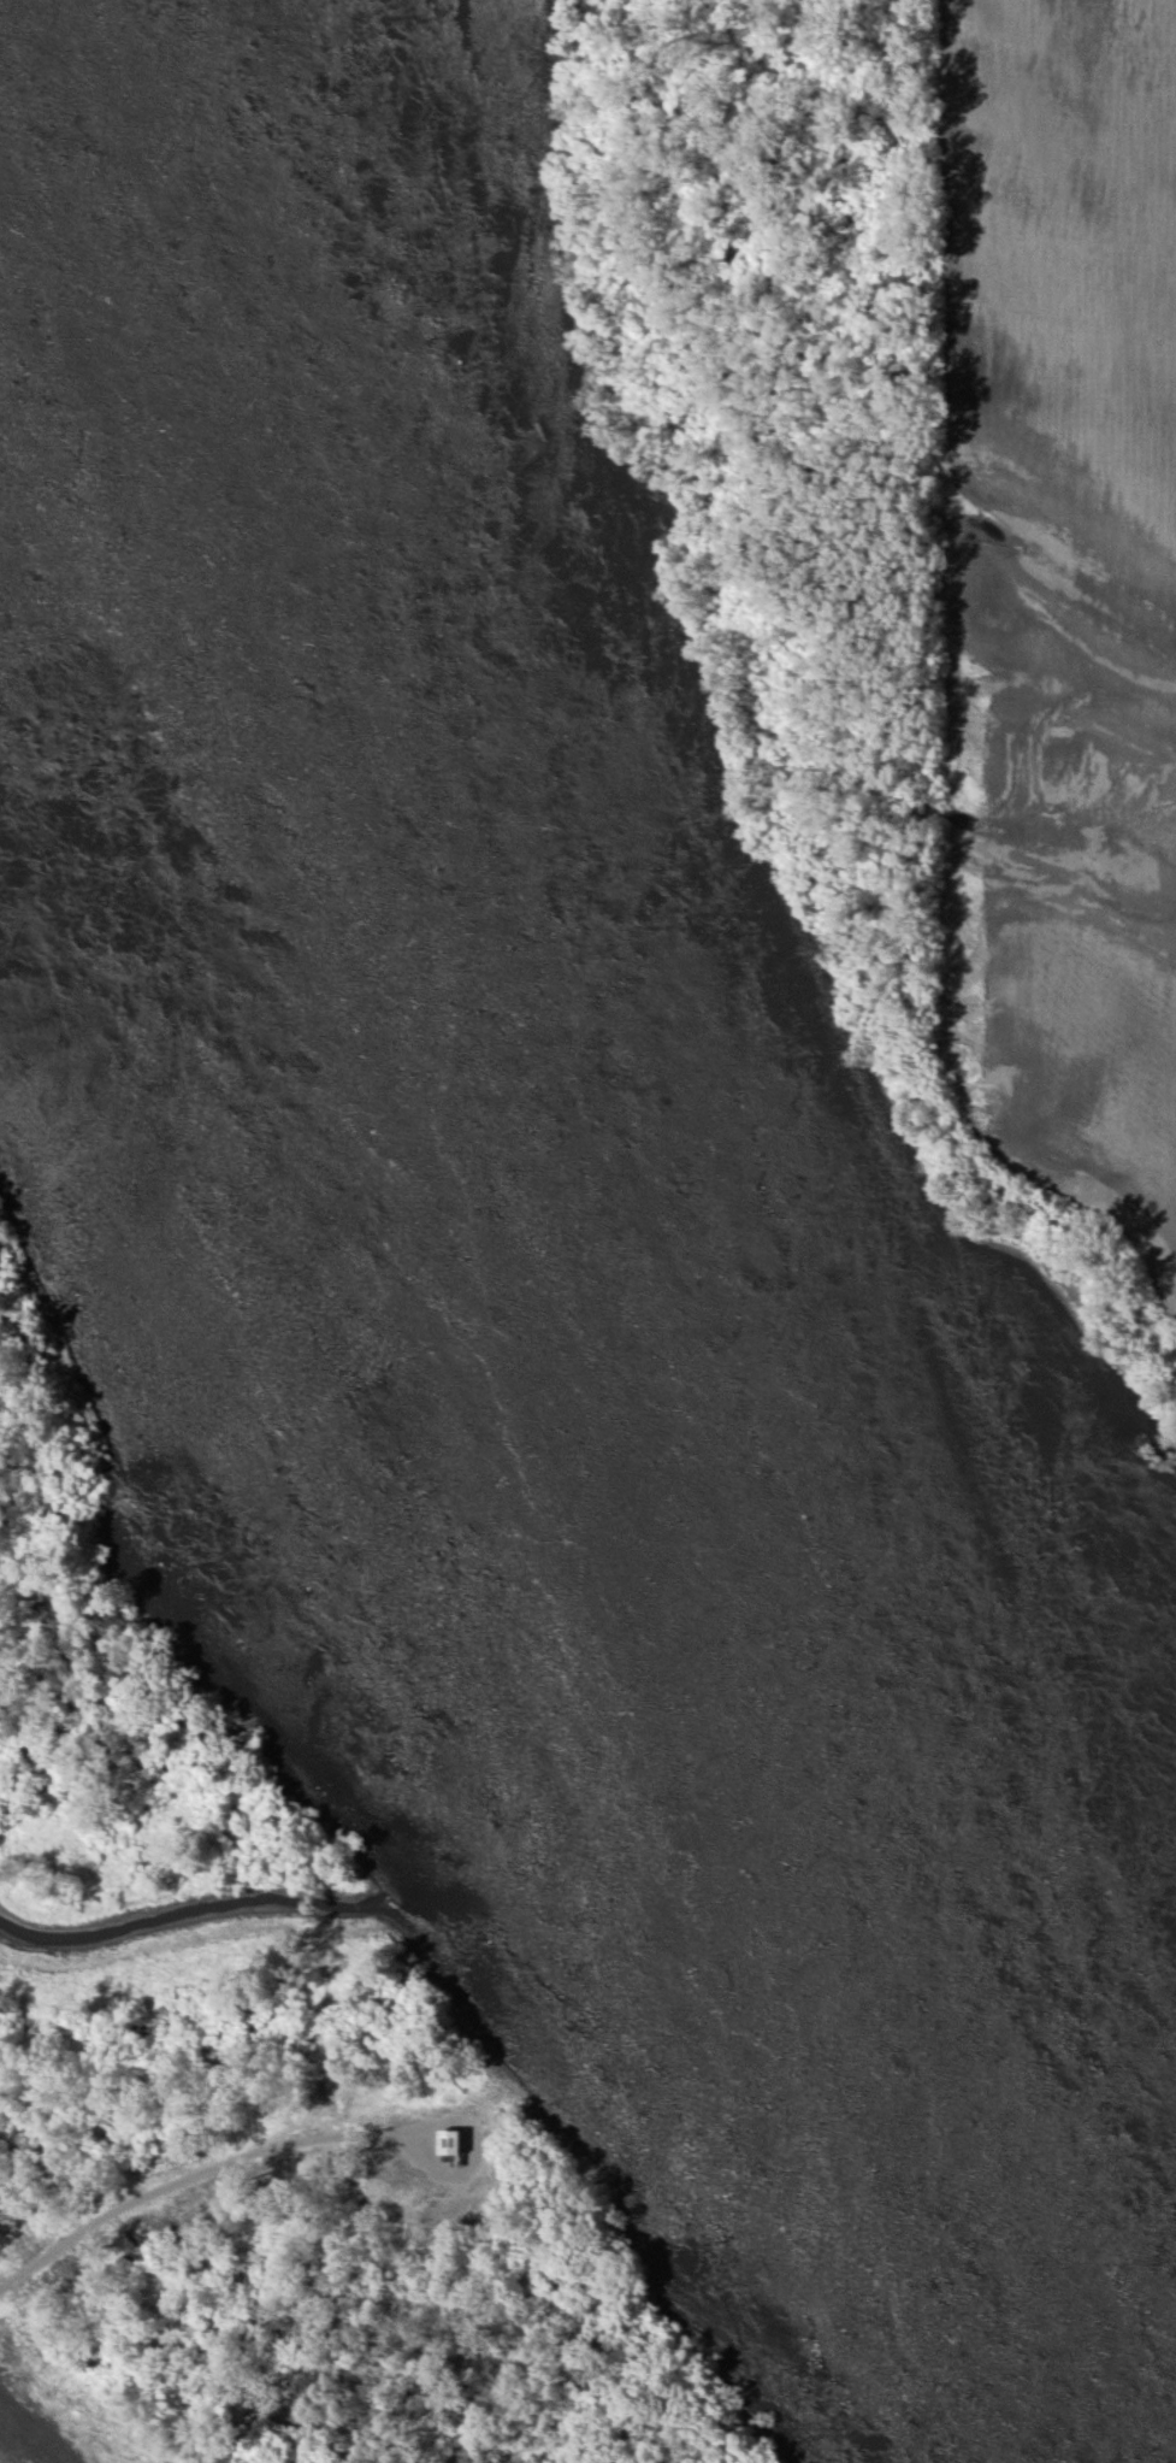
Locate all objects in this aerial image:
crop: (1062, 597)
river: (513, 1183)
crop: (53, 2408)

